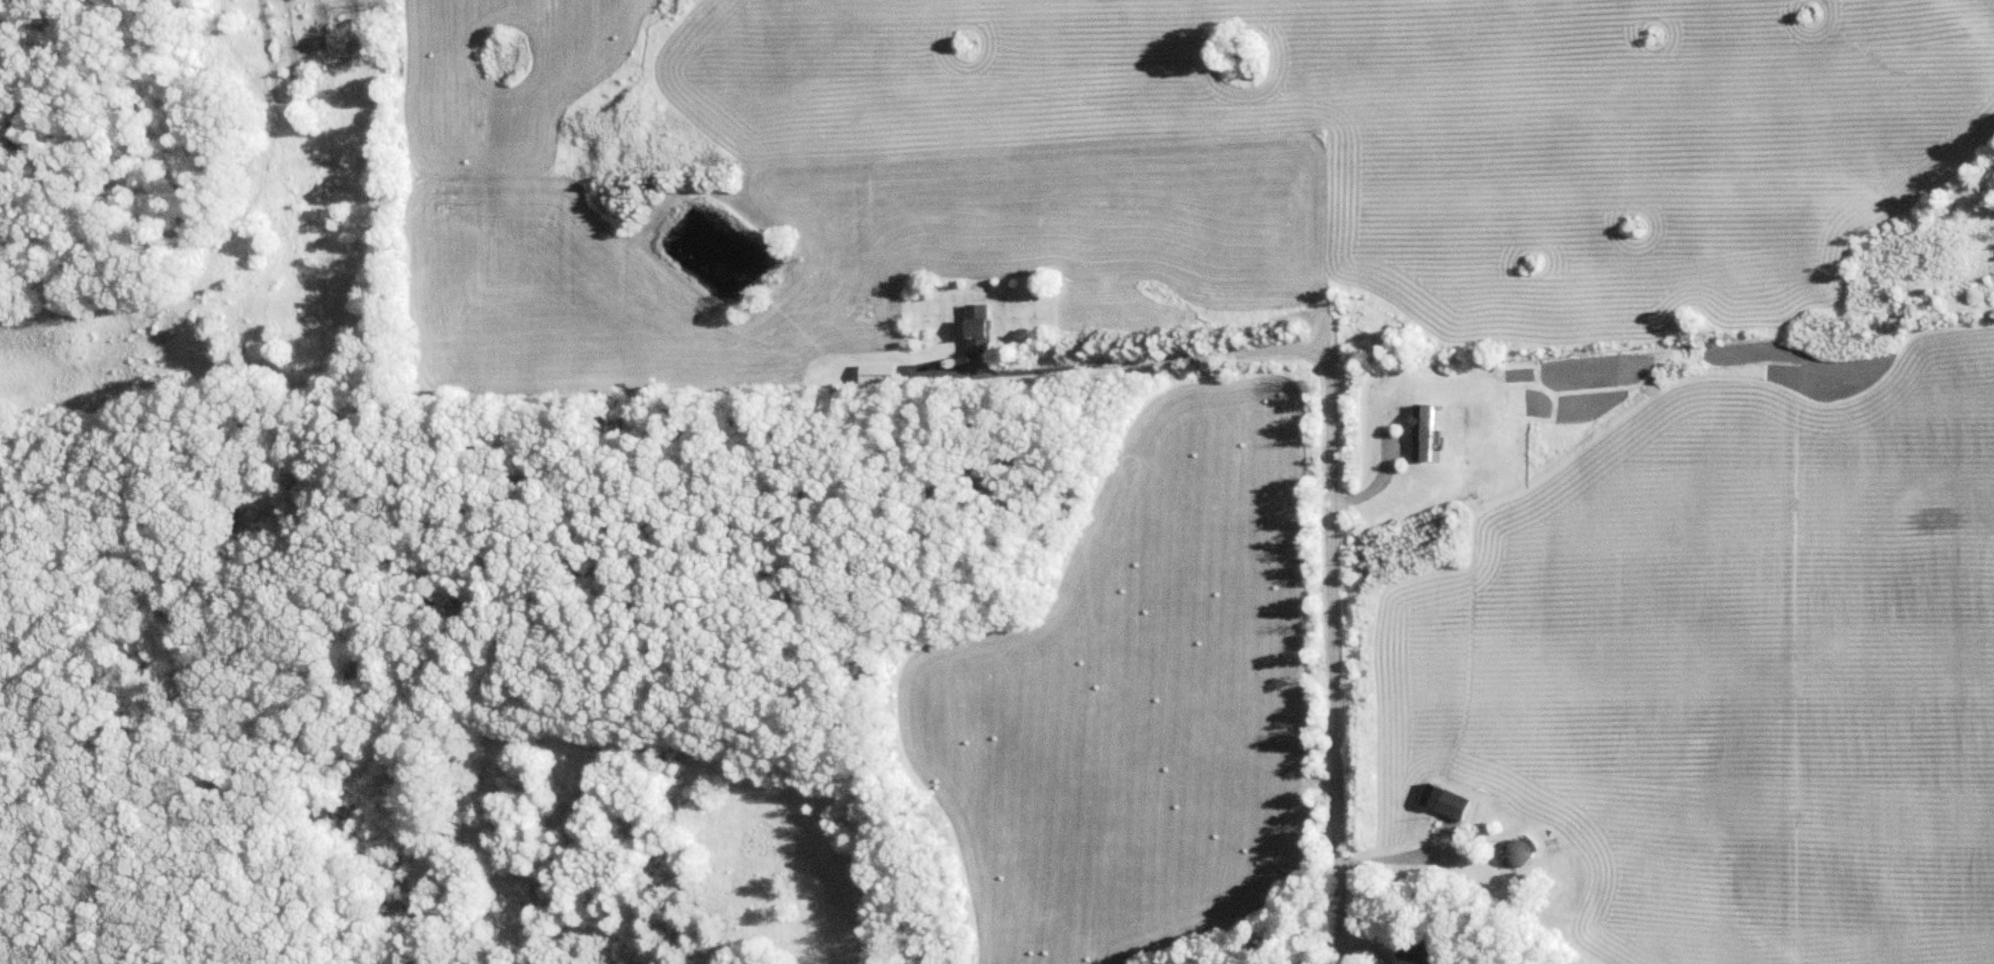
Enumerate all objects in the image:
crop: (1141, 169)
building: (982, 328)
road: (1118, 359)
building: (876, 374)
building: (1428, 433)
road: (1332, 653)
crop: (1729, 673)
building: (1448, 801)
building: (1423, 953)

